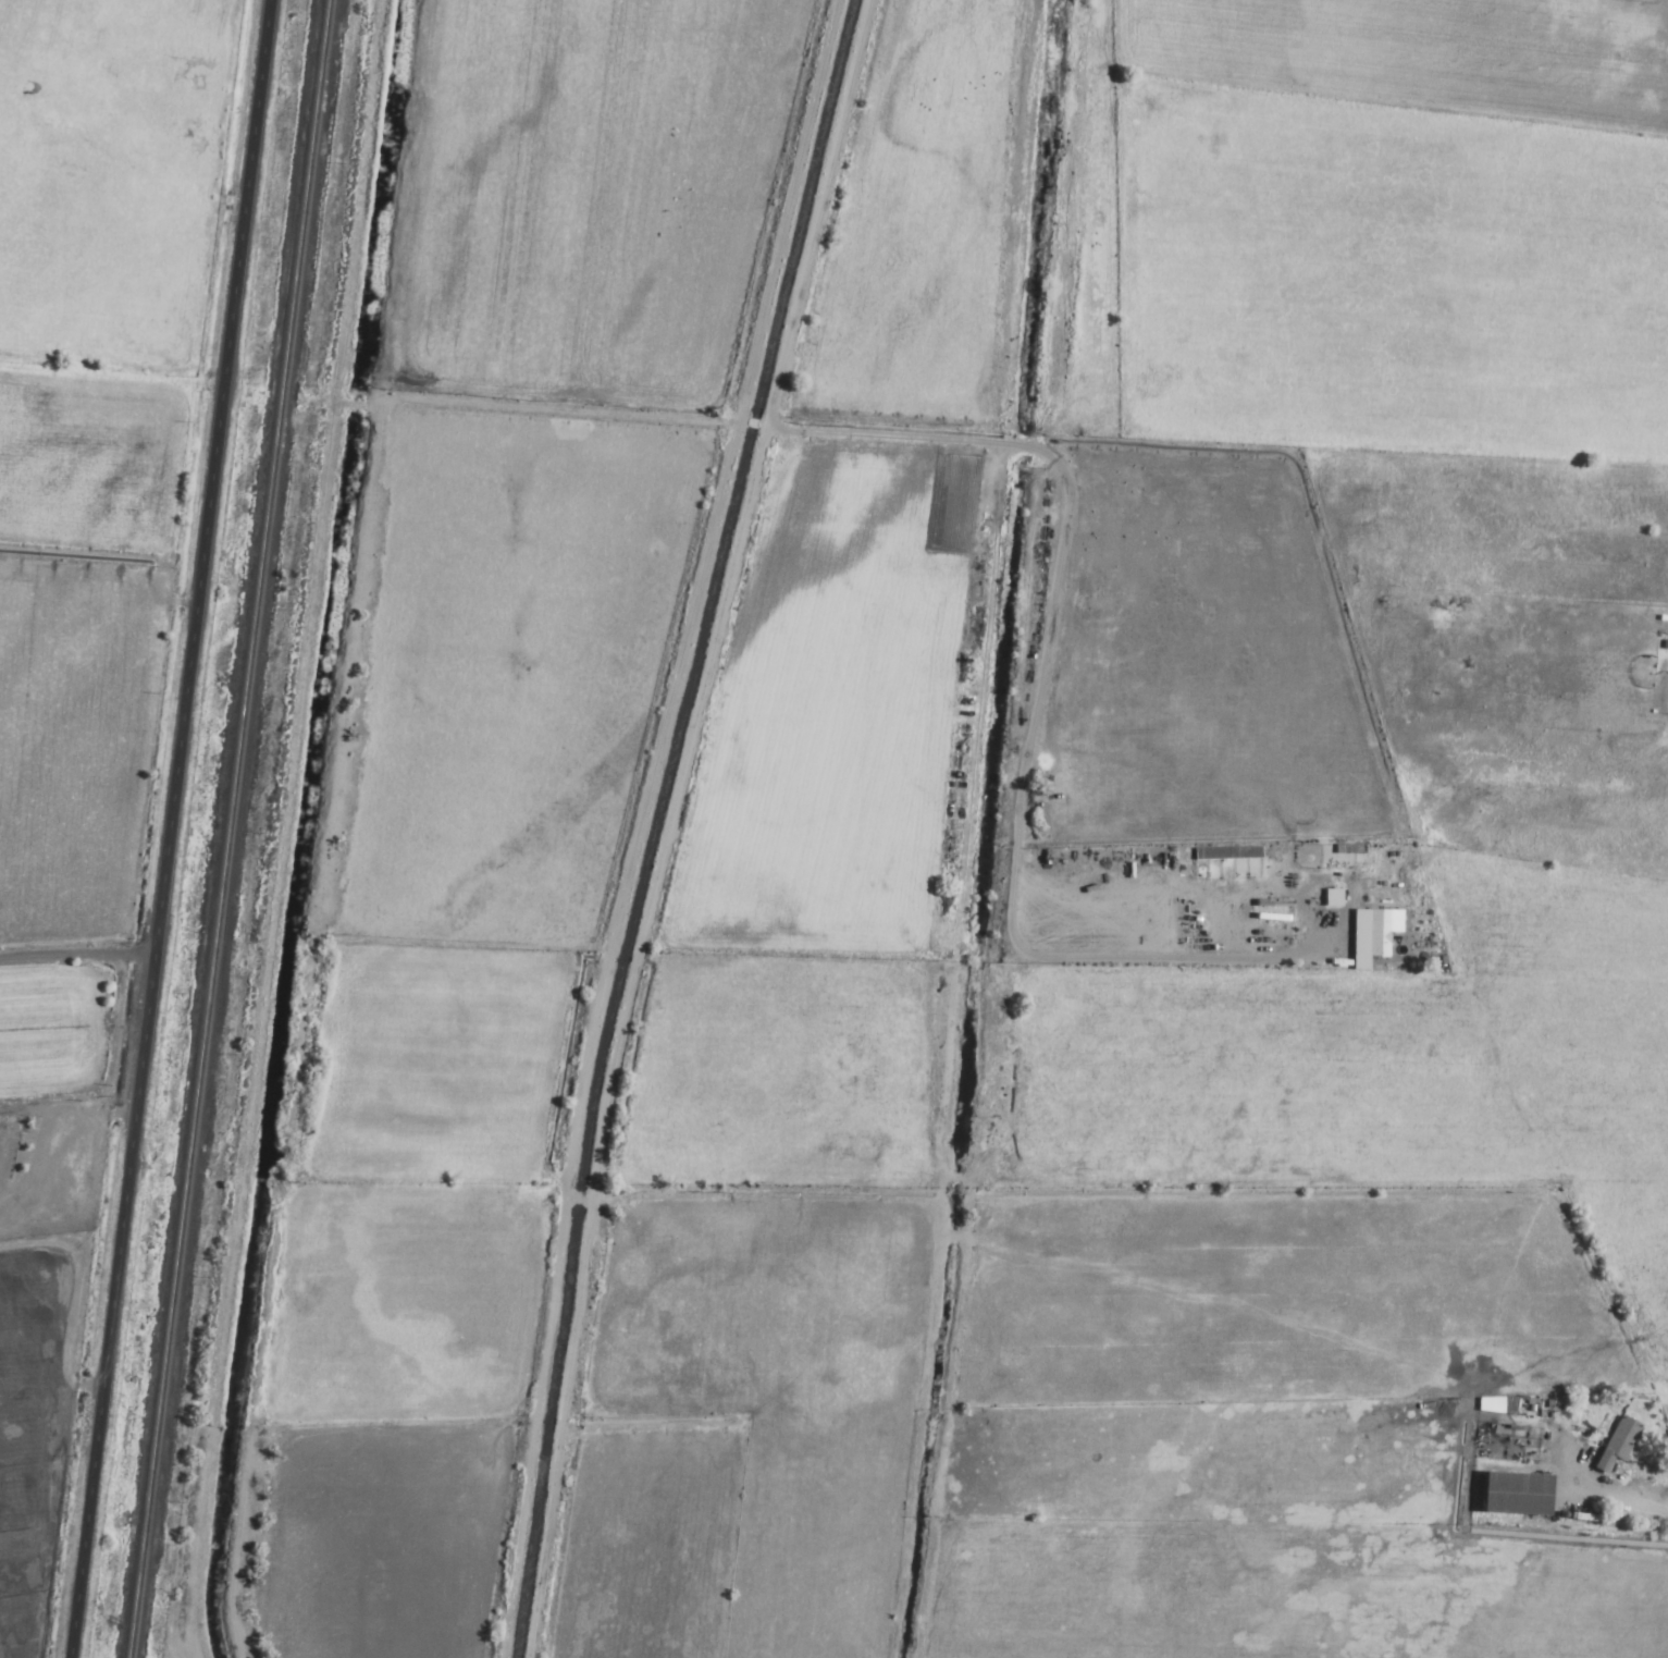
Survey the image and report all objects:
road: (166, 828)
railway: (225, 828)
building: (1330, 899)
building: (1375, 935)
building: (1494, 1404)
building: (1614, 1444)
building: (1484, 1446)
building: (1510, 1494)

